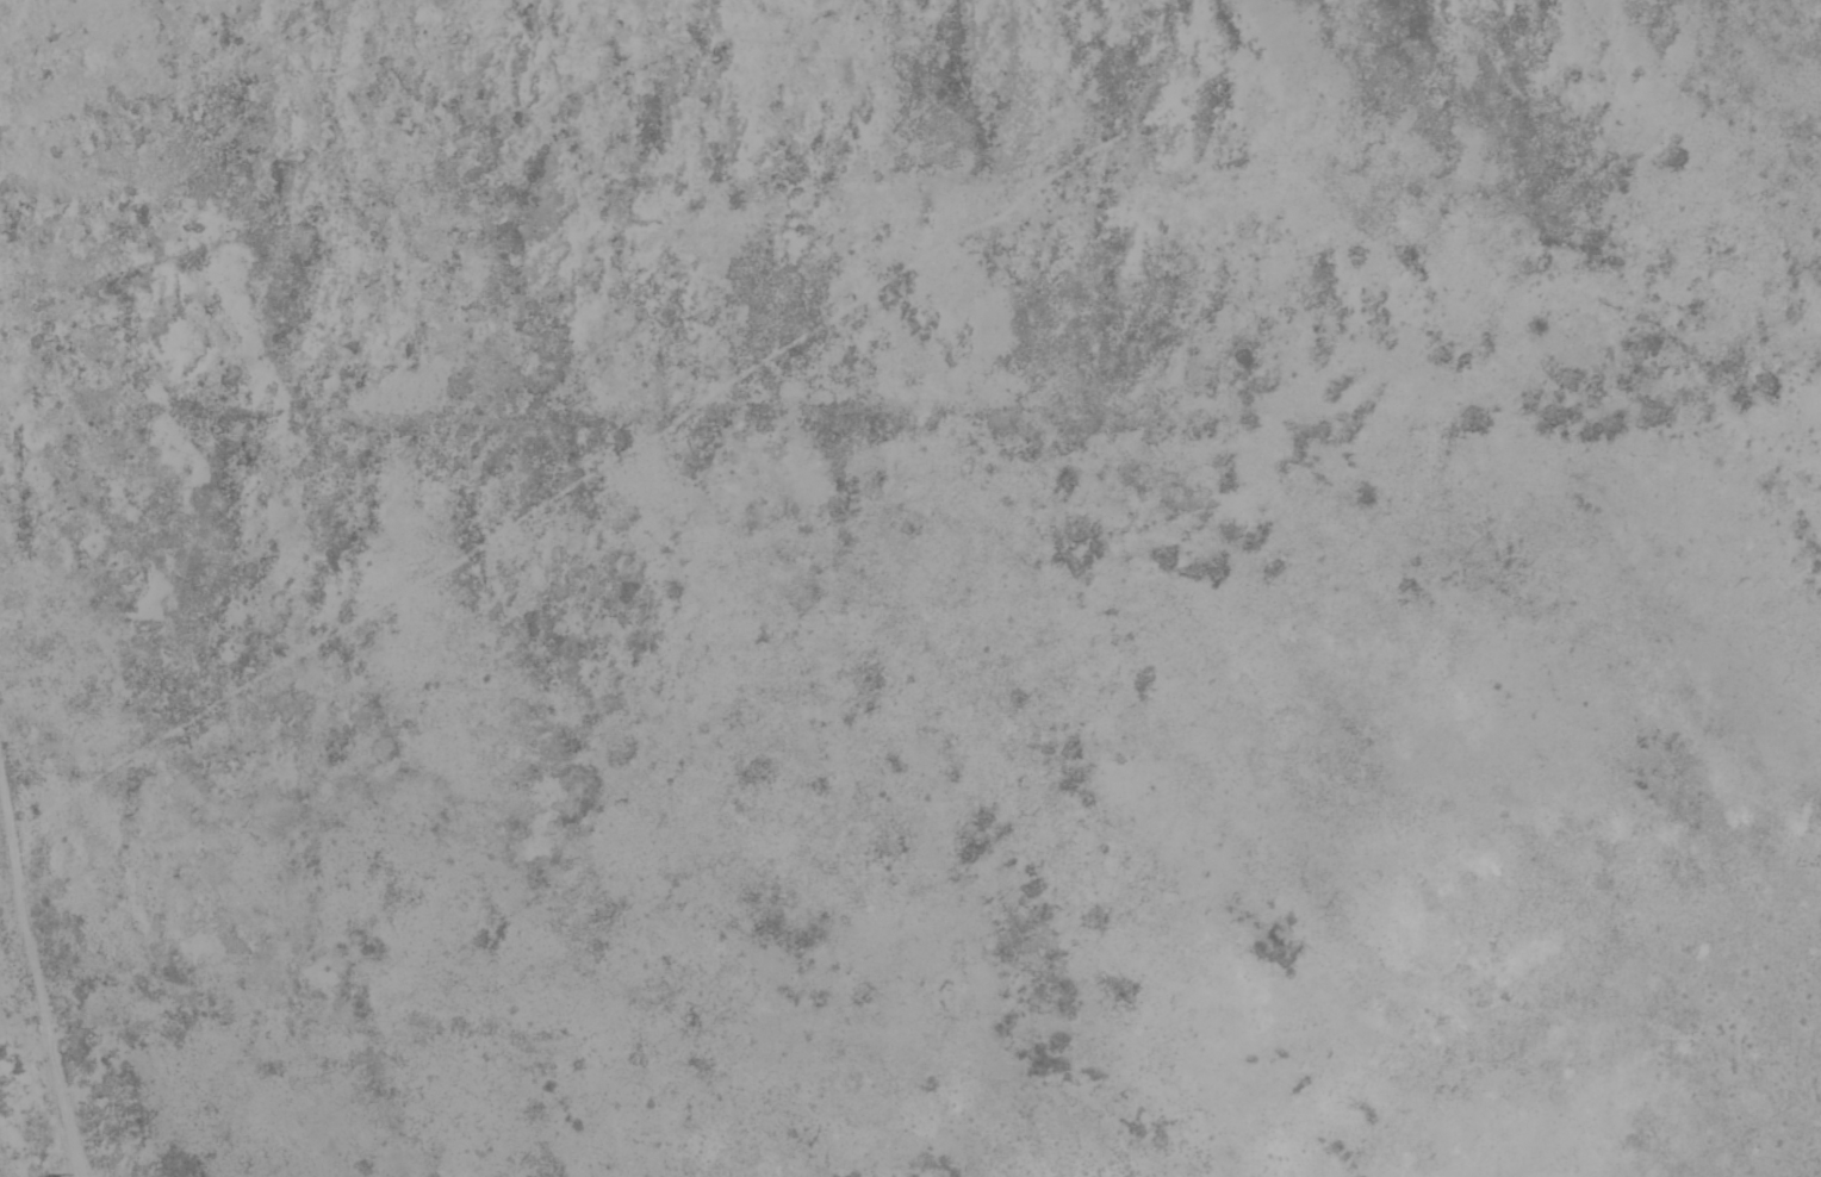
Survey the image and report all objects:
road: (86, 729)

